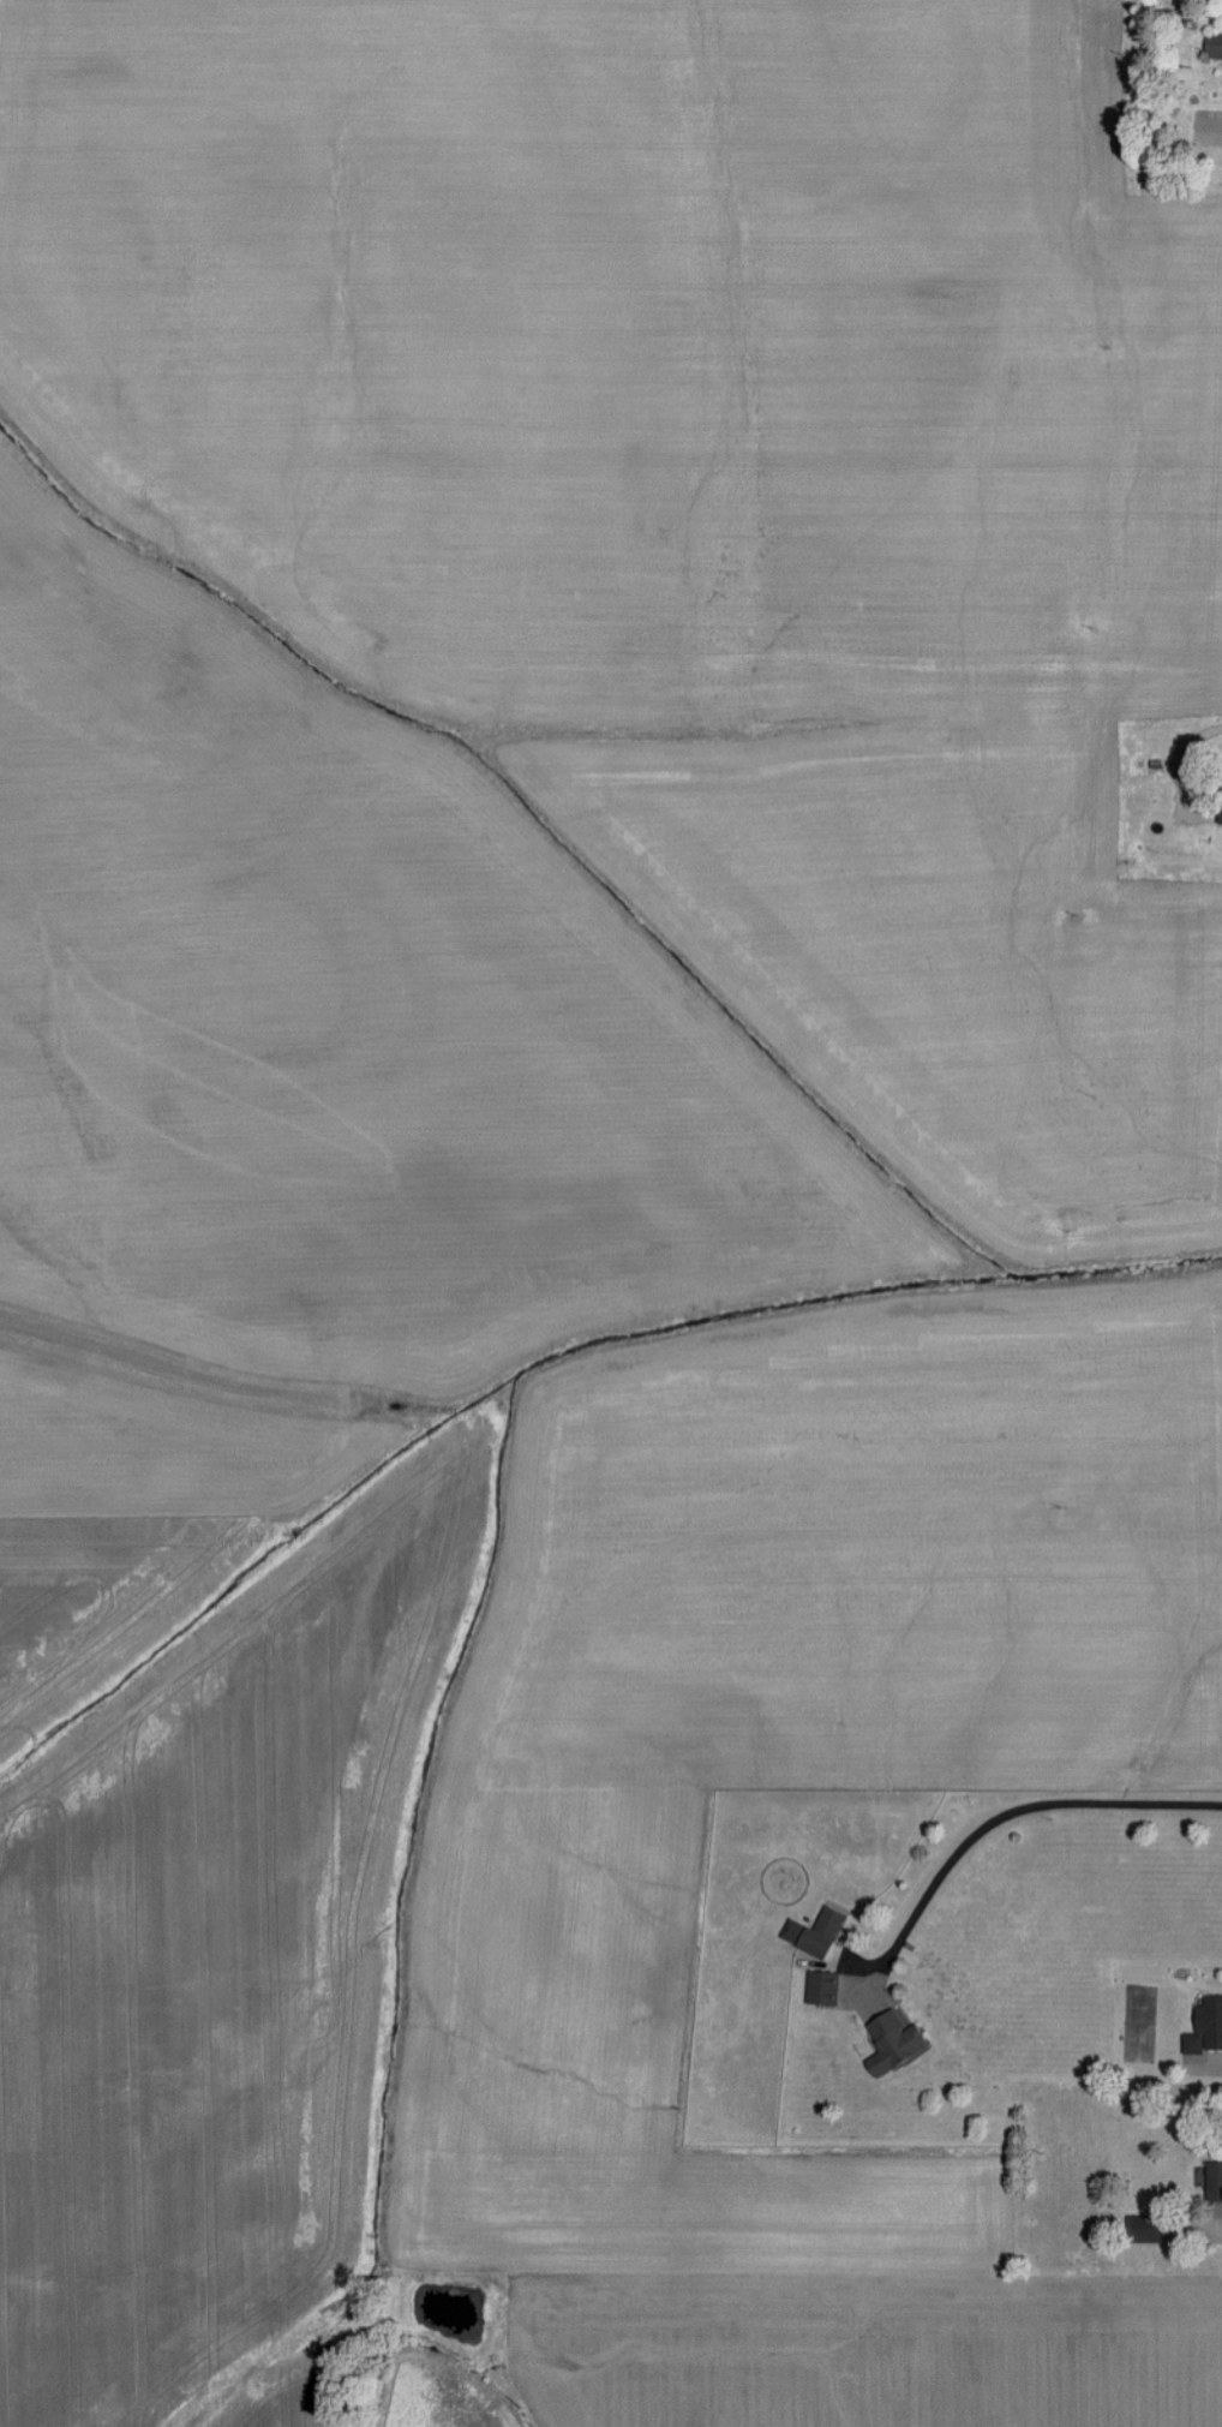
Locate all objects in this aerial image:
building: (1214, 44)
building: (1220, 796)
road: (1016, 1811)
building: (823, 1930)
building: (822, 1989)
building: (1211, 2022)
building: (894, 2043)
building: (1215, 2182)
building: (1145, 2228)

